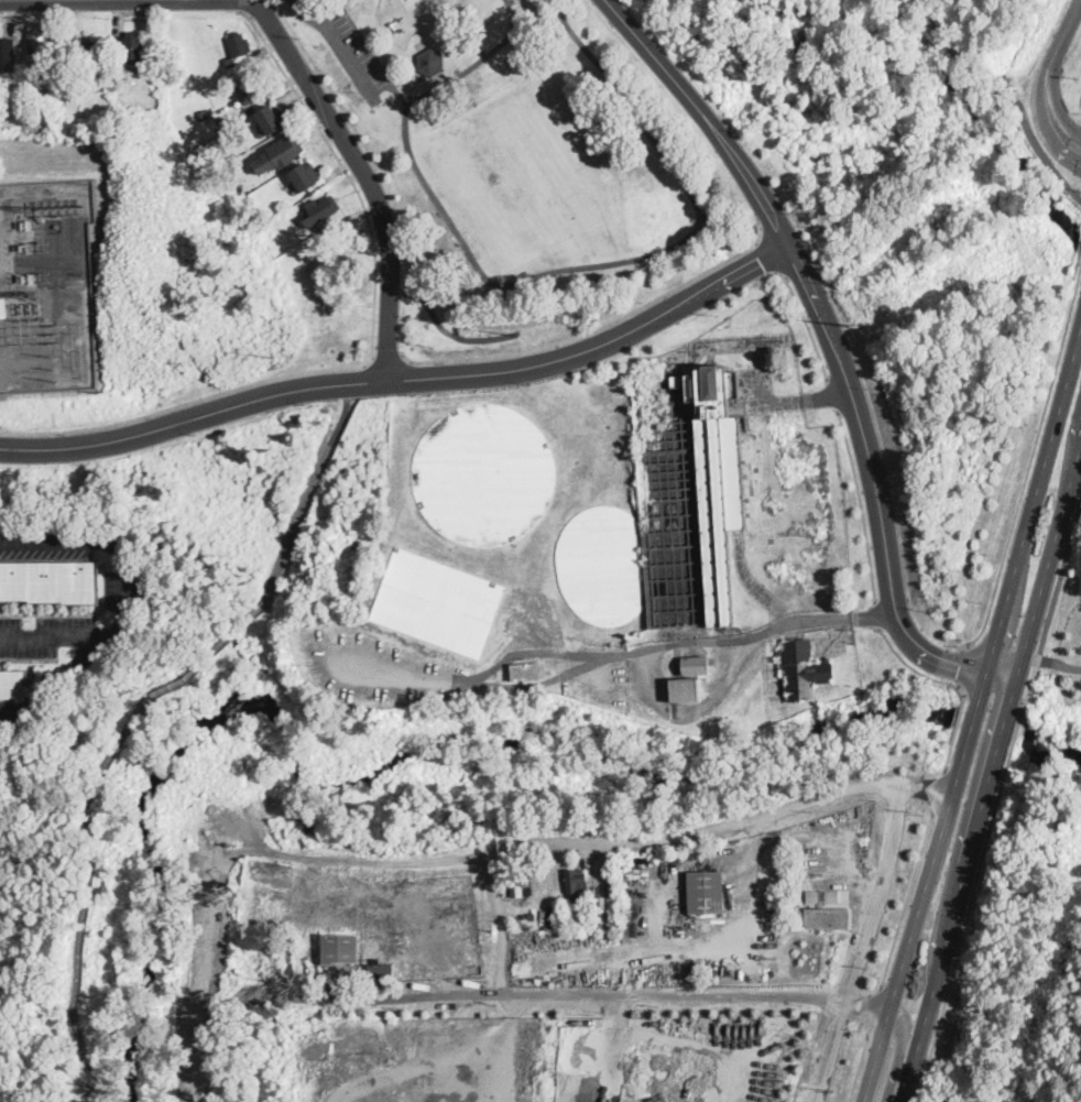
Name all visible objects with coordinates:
road: (48, 0)
building: (40, 40)
building: (240, 44)
building: (133, 47)
road: (341, 47)
parking lot: (353, 53)
building: (90, 54)
building: (8, 56)
building: (230, 62)
building: (432, 63)
road: (460, 74)
building: (236, 76)
road: (1049, 77)
building: (85, 89)
building: (251, 91)
road: (1004, 95)
road: (630, 106)
building: (207, 120)
building: (270, 122)
building: (232, 151)
building: (280, 153)
park: (520, 164)
road: (345, 170)
road: (365, 175)
building: (306, 181)
building: (324, 208)
road: (730, 223)
road: (760, 225)
building: (317, 239)
road: (766, 257)
building: (266, 260)
road: (446, 274)
road: (501, 282)
power substation: (46, 286)
building: (3, 307)
road: (804, 319)
power tower: (859, 326)
road: (447, 330)
road: (593, 330)
power tower: (529, 339)
road: (836, 348)
road: (386, 354)
power tower: (270, 358)
road: (367, 361)
power tower: (56, 368)
road: (405, 378)
road: (356, 381)
road: (832, 393)
road: (788, 400)
road: (182, 405)
road: (1029, 465)
building: (483, 473)
storage tank: (483, 473)
building: (690, 494)
road: (307, 500)
road: (859, 503)
road: (108, 543)
building: (602, 564)
storage tank: (602, 564)
road: (1059, 580)
building: (50, 582)
building: (437, 601)
storage tank: (437, 601)
road: (876, 612)
road: (1030, 633)
road: (54, 637)
road: (615, 654)
road: (964, 664)
road: (1059, 664)
building: (697, 666)
road: (911, 666)
building: (804, 670)
building: (525, 672)
building: (12, 683)
road: (54, 683)
road: (538, 683)
building: (686, 690)
road: (994, 695)
road: (975, 718)
road: (958, 727)
road: (939, 788)
road: (88, 805)
building: (306, 822)
road: (608, 844)
road: (889, 848)
road: (975, 880)
building: (576, 884)
building: (522, 885)
building: (706, 892)
building: (633, 894)
building: (822, 895)
road: (907, 896)
building: (828, 918)
road: (502, 921)
building: (572, 925)
building: (340, 948)
road: (860, 956)
road: (942, 958)
building: (381, 973)
road: (605, 991)
road: (874, 1008)
road: (685, 1049)
road: (826, 1052)
road: (896, 1058)
road: (858, 1067)
road: (86, 1089)

